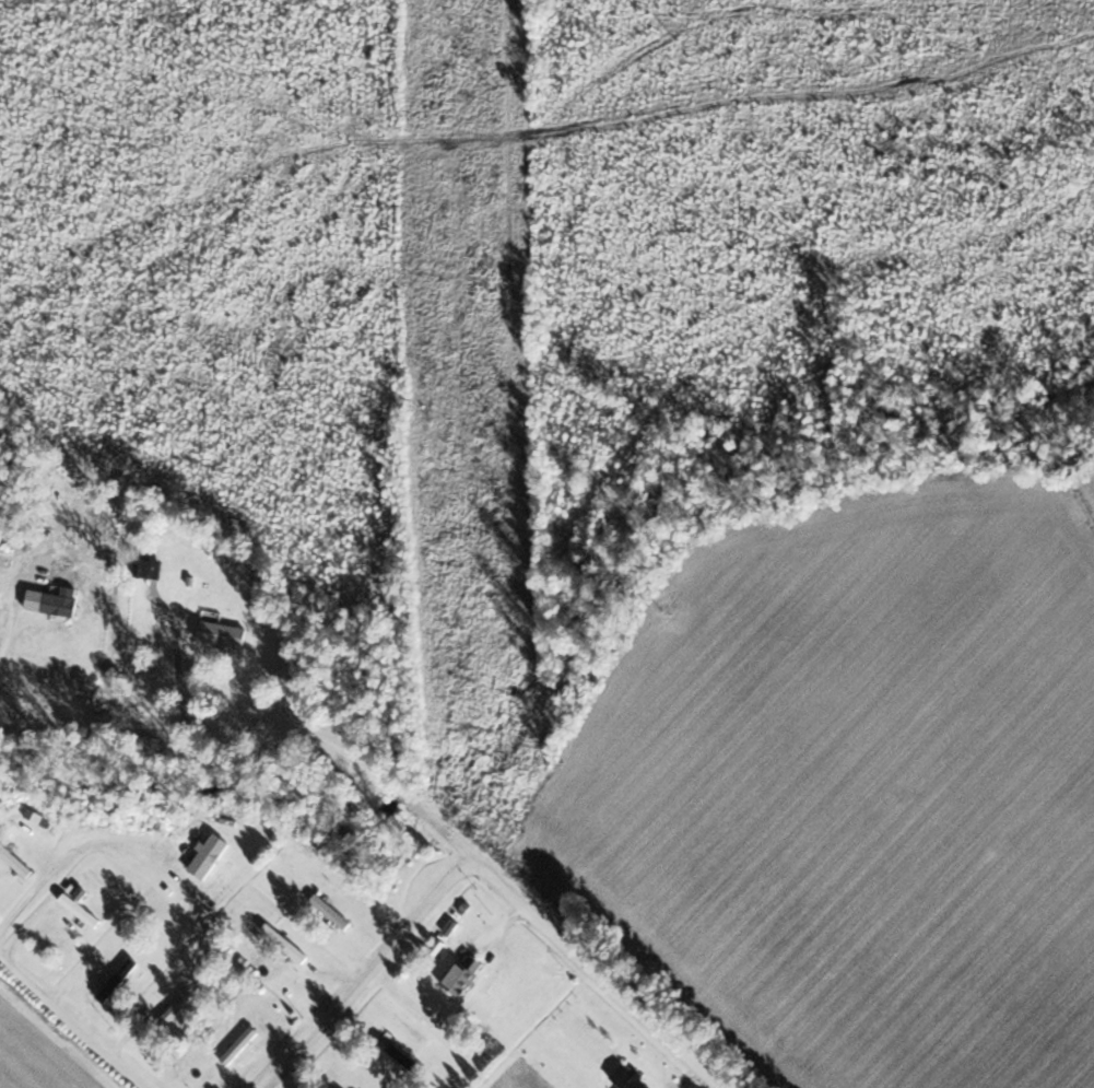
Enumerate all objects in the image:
power tower: (496, 85)
power tower: (498, 416)
building: (226, 632)
road: (402, 802)
power tower: (522, 832)
road: (70, 854)
building: (212, 862)
building: (339, 906)
building: (85, 910)
building: (136, 933)
building: (290, 944)
road: (372, 975)
building: (183, 1006)
road: (80, 1021)
building: (246, 1042)
building: (403, 1052)
building: (632, 1078)

